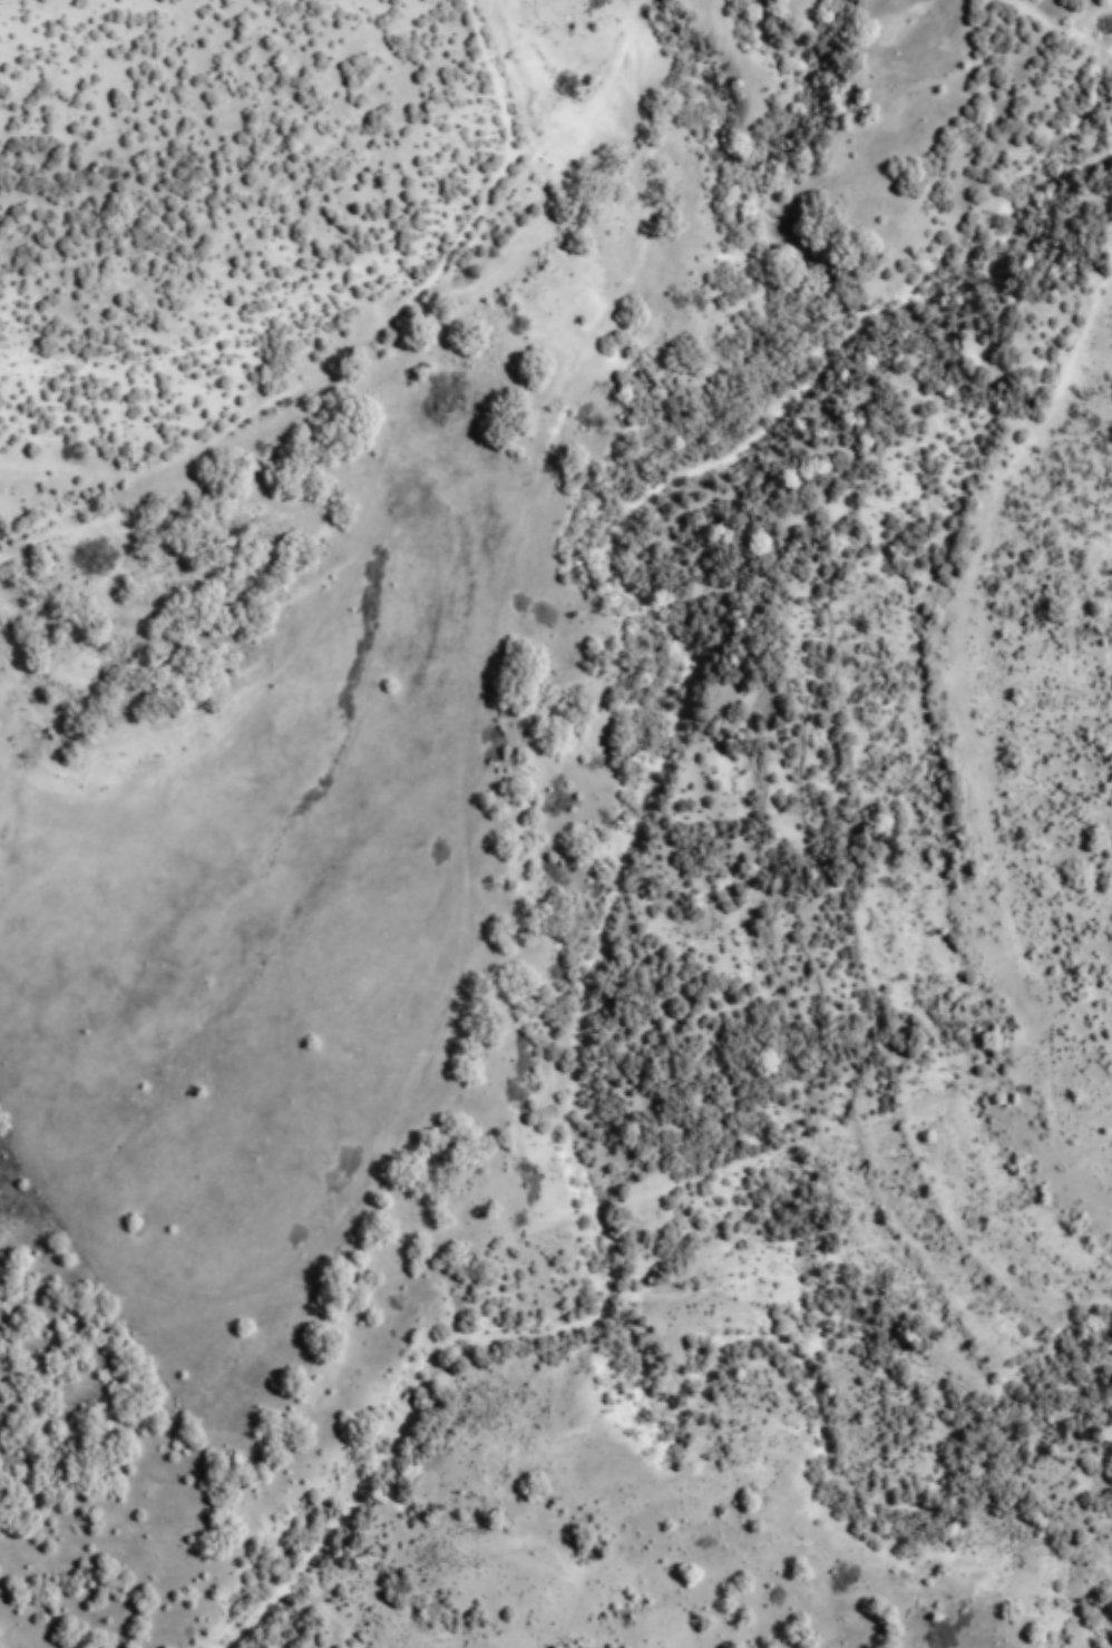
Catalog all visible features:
road: (1066, 22)
road: (435, 275)
road: (65, 469)

